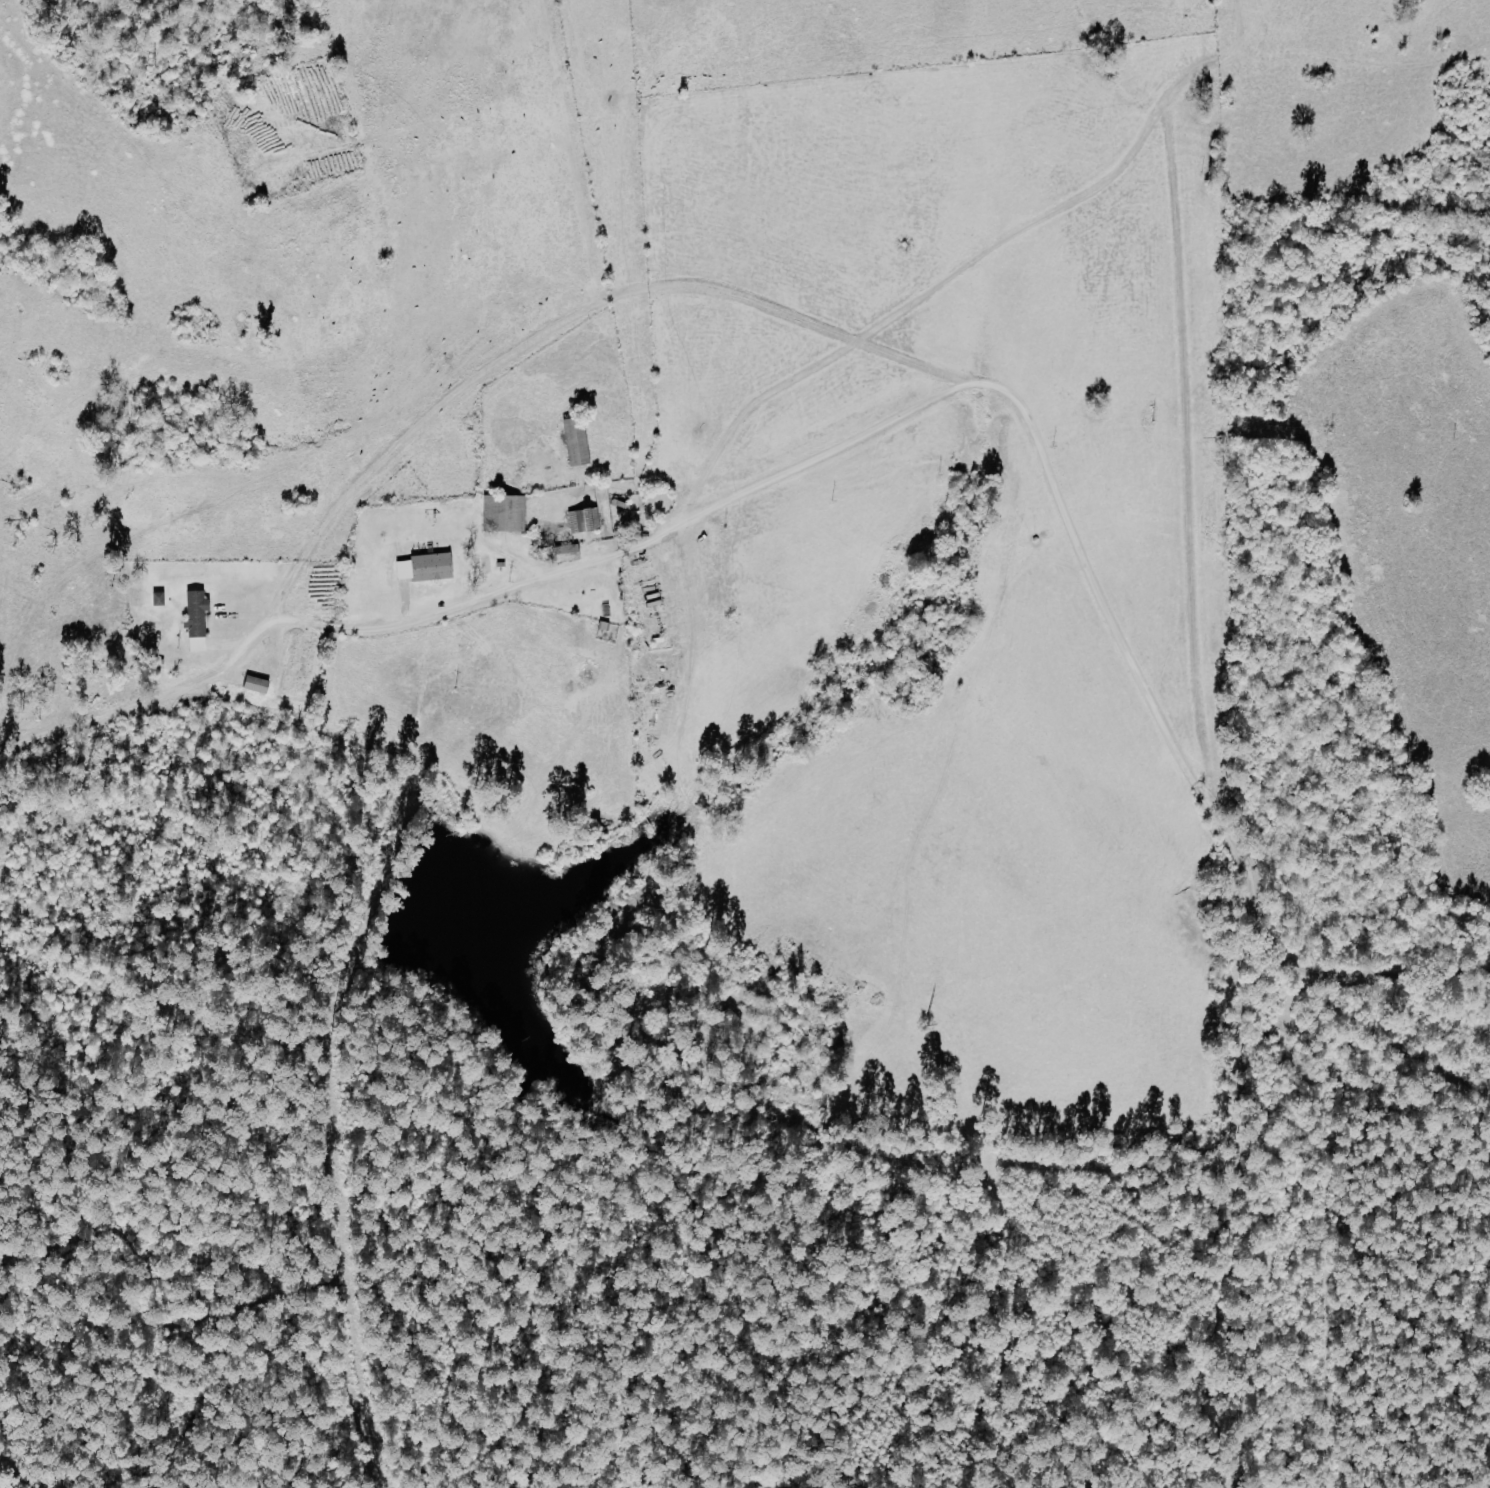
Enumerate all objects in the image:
road: (1213, 53)
road: (906, 302)
road: (888, 426)
road: (1188, 431)
building: (578, 440)
building: (506, 512)
building: (427, 566)
building: (160, 598)
building: (198, 619)
building: (257, 684)

